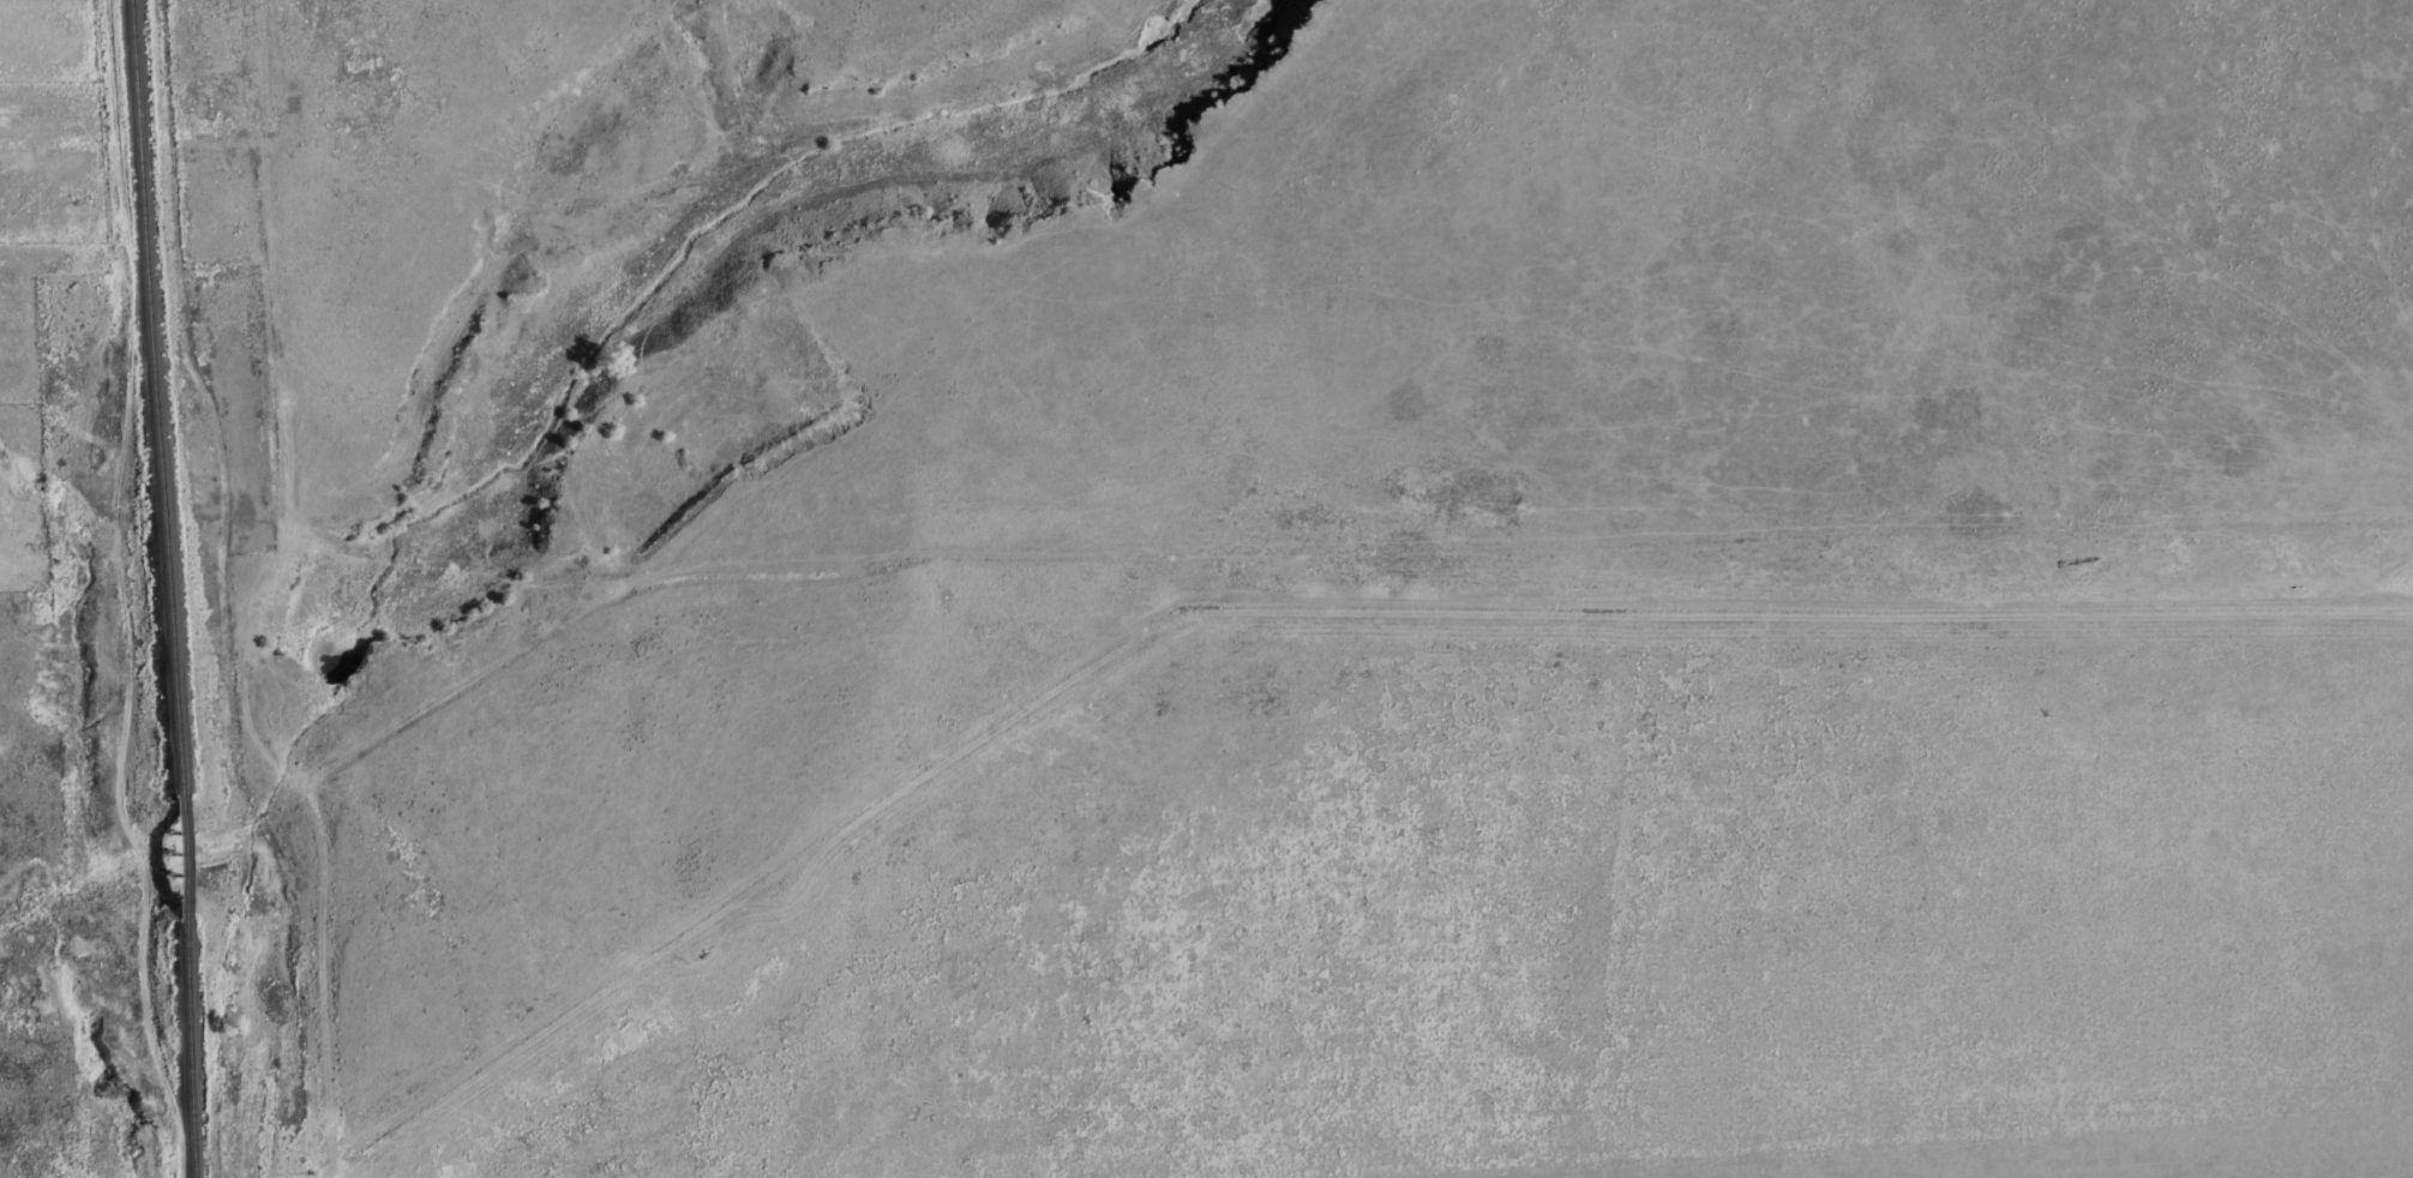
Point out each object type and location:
railway: (167, 589)

